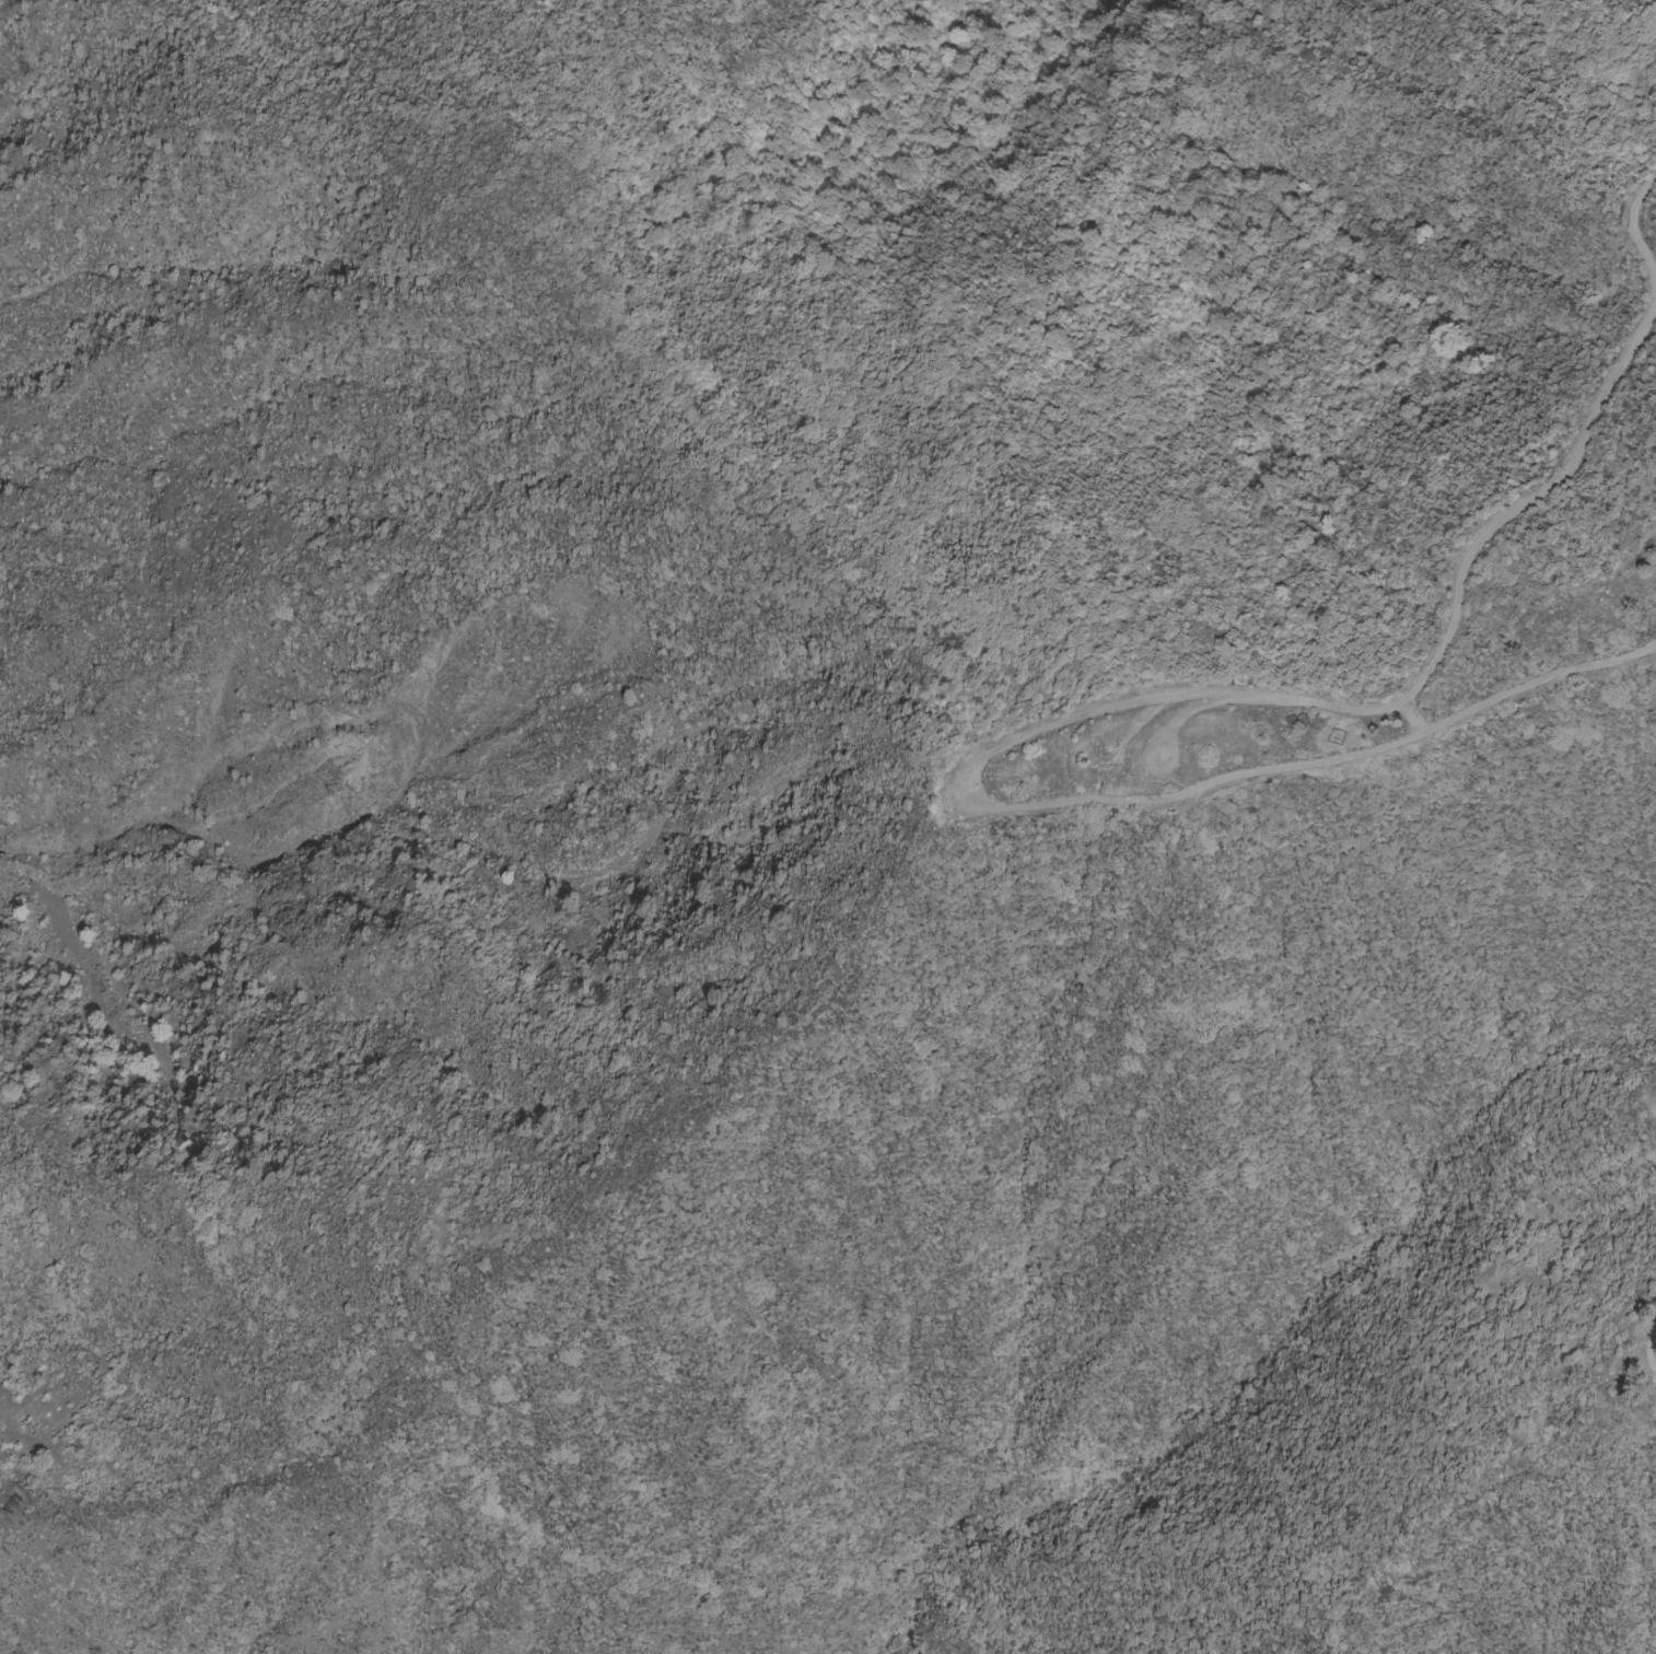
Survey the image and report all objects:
road: (1120, 702)
road: (1409, 719)
helipad: (1157, 761)
road: (1653, 1325)
road: (1653, 1331)
road: (1646, 1348)
power tower: (14, 1510)
road: (1424, 1533)

